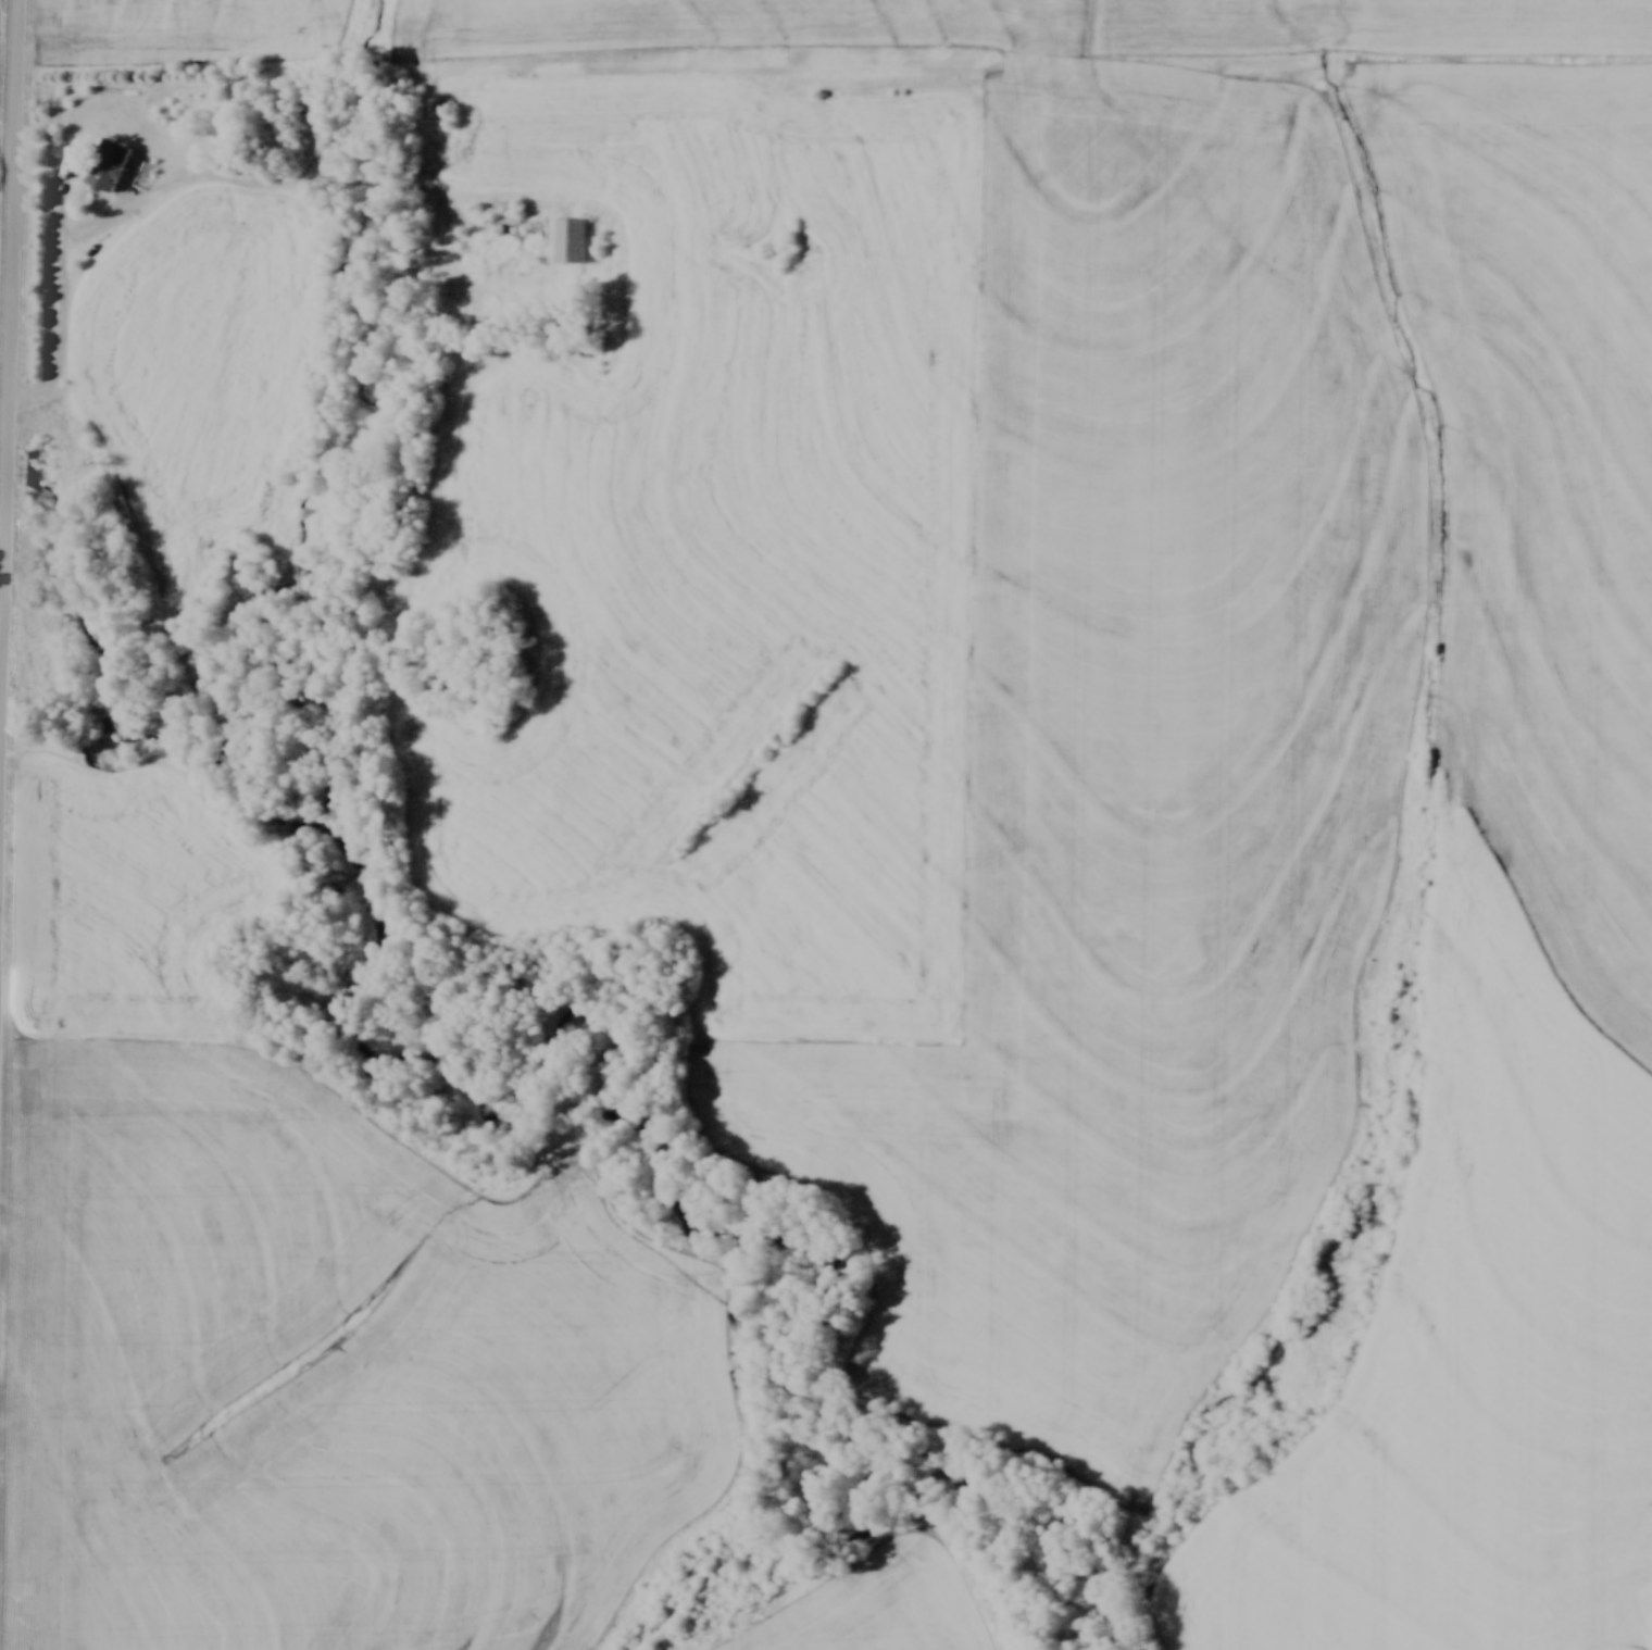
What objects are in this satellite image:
building: (112, 164)
building: (509, 218)
building: (572, 241)
road: (65, 290)
road: (10, 414)

